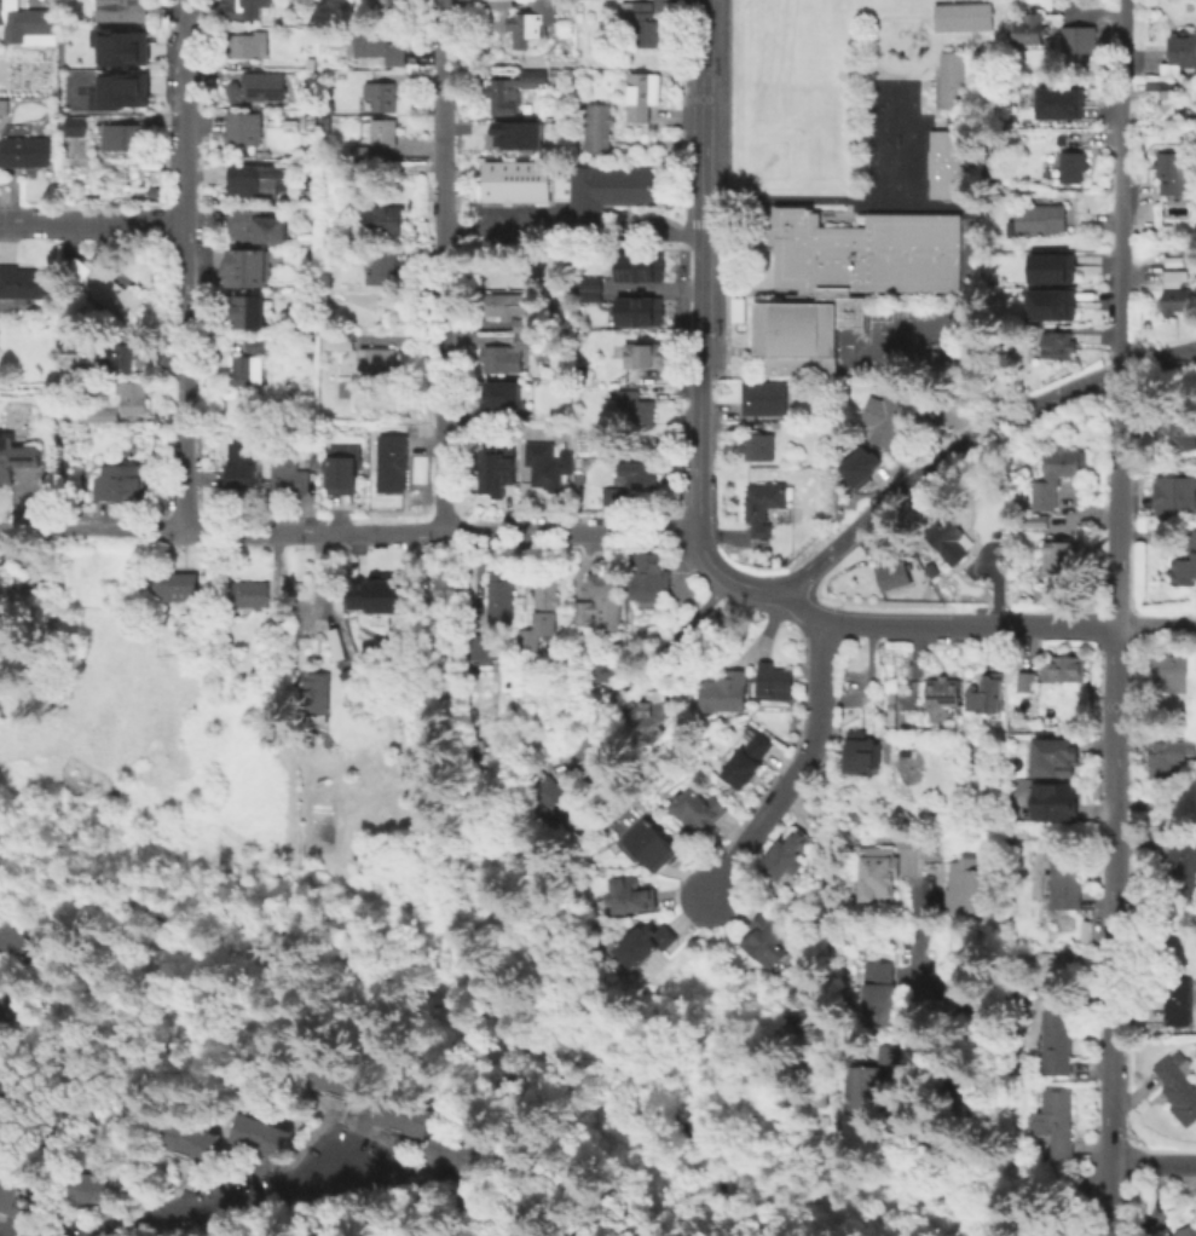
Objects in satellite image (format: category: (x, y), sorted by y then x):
road: (37, 0)
building: (391, 6)
building: (125, 8)
building: (243, 8)
building: (961, 16)
building: (24, 21)
park: (781, 21)
building: (531, 22)
building: (642, 22)
building: (1028, 28)
building: (1075, 39)
building: (247, 45)
building: (379, 45)
building: (122, 46)
building: (1181, 53)
road: (934, 58)
building: (949, 79)
road: (926, 82)
building: (265, 86)
building: (47, 87)
building: (512, 89)
building: (122, 91)
building: (381, 94)
building: (642, 94)
building: (1058, 102)
park: (878, 108)
road: (183, 112)
building: (1169, 112)
building: (319, 122)
park: (917, 122)
building: (73, 125)
building: (290, 125)
building: (597, 126)
building: (243, 127)
park: (877, 127)
park: (896, 131)
building: (513, 134)
building: (125, 137)
building: (377, 139)
park: (788, 144)
park: (871, 150)
park: (896, 150)
building: (24, 151)
road: (312, 160)
park: (895, 162)
building: (943, 163)
building: (1073, 164)
building: (1173, 172)
building: (515, 180)
building: (259, 181)
road: (1121, 185)
building: (607, 190)
park: (918, 194)
road: (782, 200)
building: (382, 218)
building: (1040, 218)
road: (93, 223)
building: (255, 226)
road: (572, 233)
building: (247, 264)
road: (443, 266)
road: (700, 266)
building: (383, 267)
building: (632, 267)
building: (1046, 267)
building: (844, 278)
building: (22, 287)
building: (105, 289)
building: (588, 289)
building: (1175, 291)
building: (641, 293)
building: (1048, 304)
building: (512, 308)
building: (248, 311)
building: (306, 322)
building: (341, 339)
building: (526, 339)
building: (73, 343)
building: (1058, 343)
building: (645, 354)
building: (116, 358)
building: (377, 358)
building: (501, 358)
building: (248, 363)
road: (185, 377)
building: (65, 389)
building: (132, 395)
building: (502, 397)
building: (764, 397)
building: (637, 408)
building: (99, 415)
building: (886, 416)
building: (1177, 434)
road: (972, 438)
building: (757, 445)
building: (17, 462)
building: (392, 462)
building: (1063, 462)
building: (548, 463)
building: (242, 464)
building: (860, 466)
building: (497, 468)
building: (345, 470)
building: (289, 472)
building: (640, 474)
building: (120, 481)
building: (1178, 495)
building: (612, 496)
road: (1116, 497)
building: (1047, 501)
building: (763, 504)
building: (1036, 520)
road: (105, 530)
road: (441, 533)
building: (955, 543)
building: (1062, 559)
building: (1185, 564)
building: (895, 572)
building: (648, 576)
road: (318, 577)
road: (729, 577)
building: (178, 587)
building: (446, 587)
building: (249, 593)
building: (377, 593)
building: (547, 597)
building: (502, 601)
building: (597, 601)
road: (799, 606)
road: (969, 622)
road: (1155, 623)
building: (530, 639)
building: (206, 646)
building: (486, 647)
building: (1068, 668)
building: (608, 669)
building: (1172, 670)
building: (773, 681)
building: (1028, 681)
building: (727, 691)
building: (942, 691)
building: (987, 693)
building: (317, 695)
building: (659, 707)
building: (456, 712)
building: (860, 756)
building: (750, 758)
building: (1059, 758)
building: (475, 759)
building: (1165, 761)
road: (796, 766)
building: (1058, 803)
building: (564, 809)
building: (699, 809)
building: (653, 843)
building: (786, 855)
building: (1183, 866)
building: (879, 873)
road: (824, 877)
building: (1065, 883)
building: (967, 885)
building: (637, 895)
road: (1111, 930)
building: (768, 941)
building: (646, 945)
road: (36, 971)
building: (879, 994)
building: (1179, 1000)
building: (964, 1004)
building: (801, 1027)
building: (1058, 1041)
building: (337, 1080)
road: (937, 1080)
building: (1, 1081)
building: (12, 1082)
building: (1179, 1085)
building: (871, 1088)
building: (970, 1088)
building: (816, 1098)
building: (399, 1115)
building: (1057, 1121)
building: (260, 1136)
building: (186, 1139)
building: (452, 1154)
road: (1151, 1163)
building: (7, 1189)
building: (87, 1189)
road: (268, 1196)
building: (22, 1208)
building: (489, 1209)
building: (1181, 1221)
road: (1, 1235)

